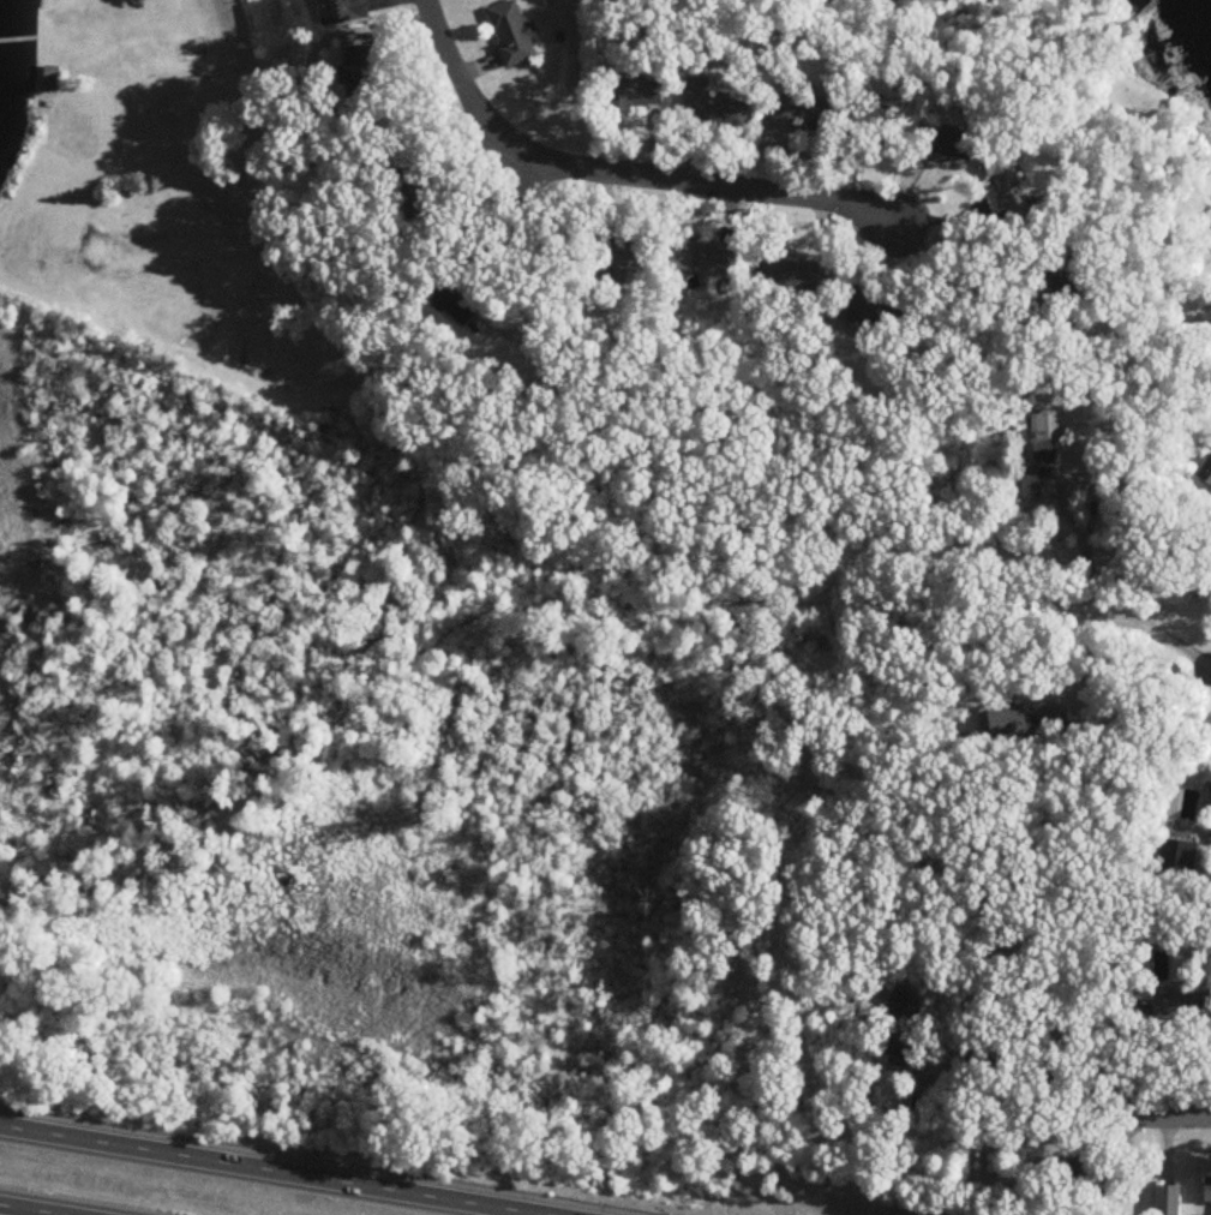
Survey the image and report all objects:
building: (344, 11)
building: (508, 20)
building: (360, 74)
building: (52, 78)
building: (634, 96)
building: (714, 106)
building: (796, 108)
building: (869, 116)
building: (949, 142)
road: (622, 174)
building: (1015, 188)
building: (623, 257)
building: (707, 257)
road: (522, 259)
building: (786, 274)
road: (1007, 291)
building: (451, 299)
building: (873, 311)
building: (1045, 437)
building: (1206, 474)
building: (1038, 489)
road: (1101, 611)
road: (508, 612)
building: (1209, 802)
building: (1188, 1006)
building: (899, 1028)
road: (1023, 1072)
road: (1161, 1108)
road: (264, 1171)
building: (1086, 1181)
building: (1209, 1191)
building: (1170, 1201)
road: (23, 1210)

